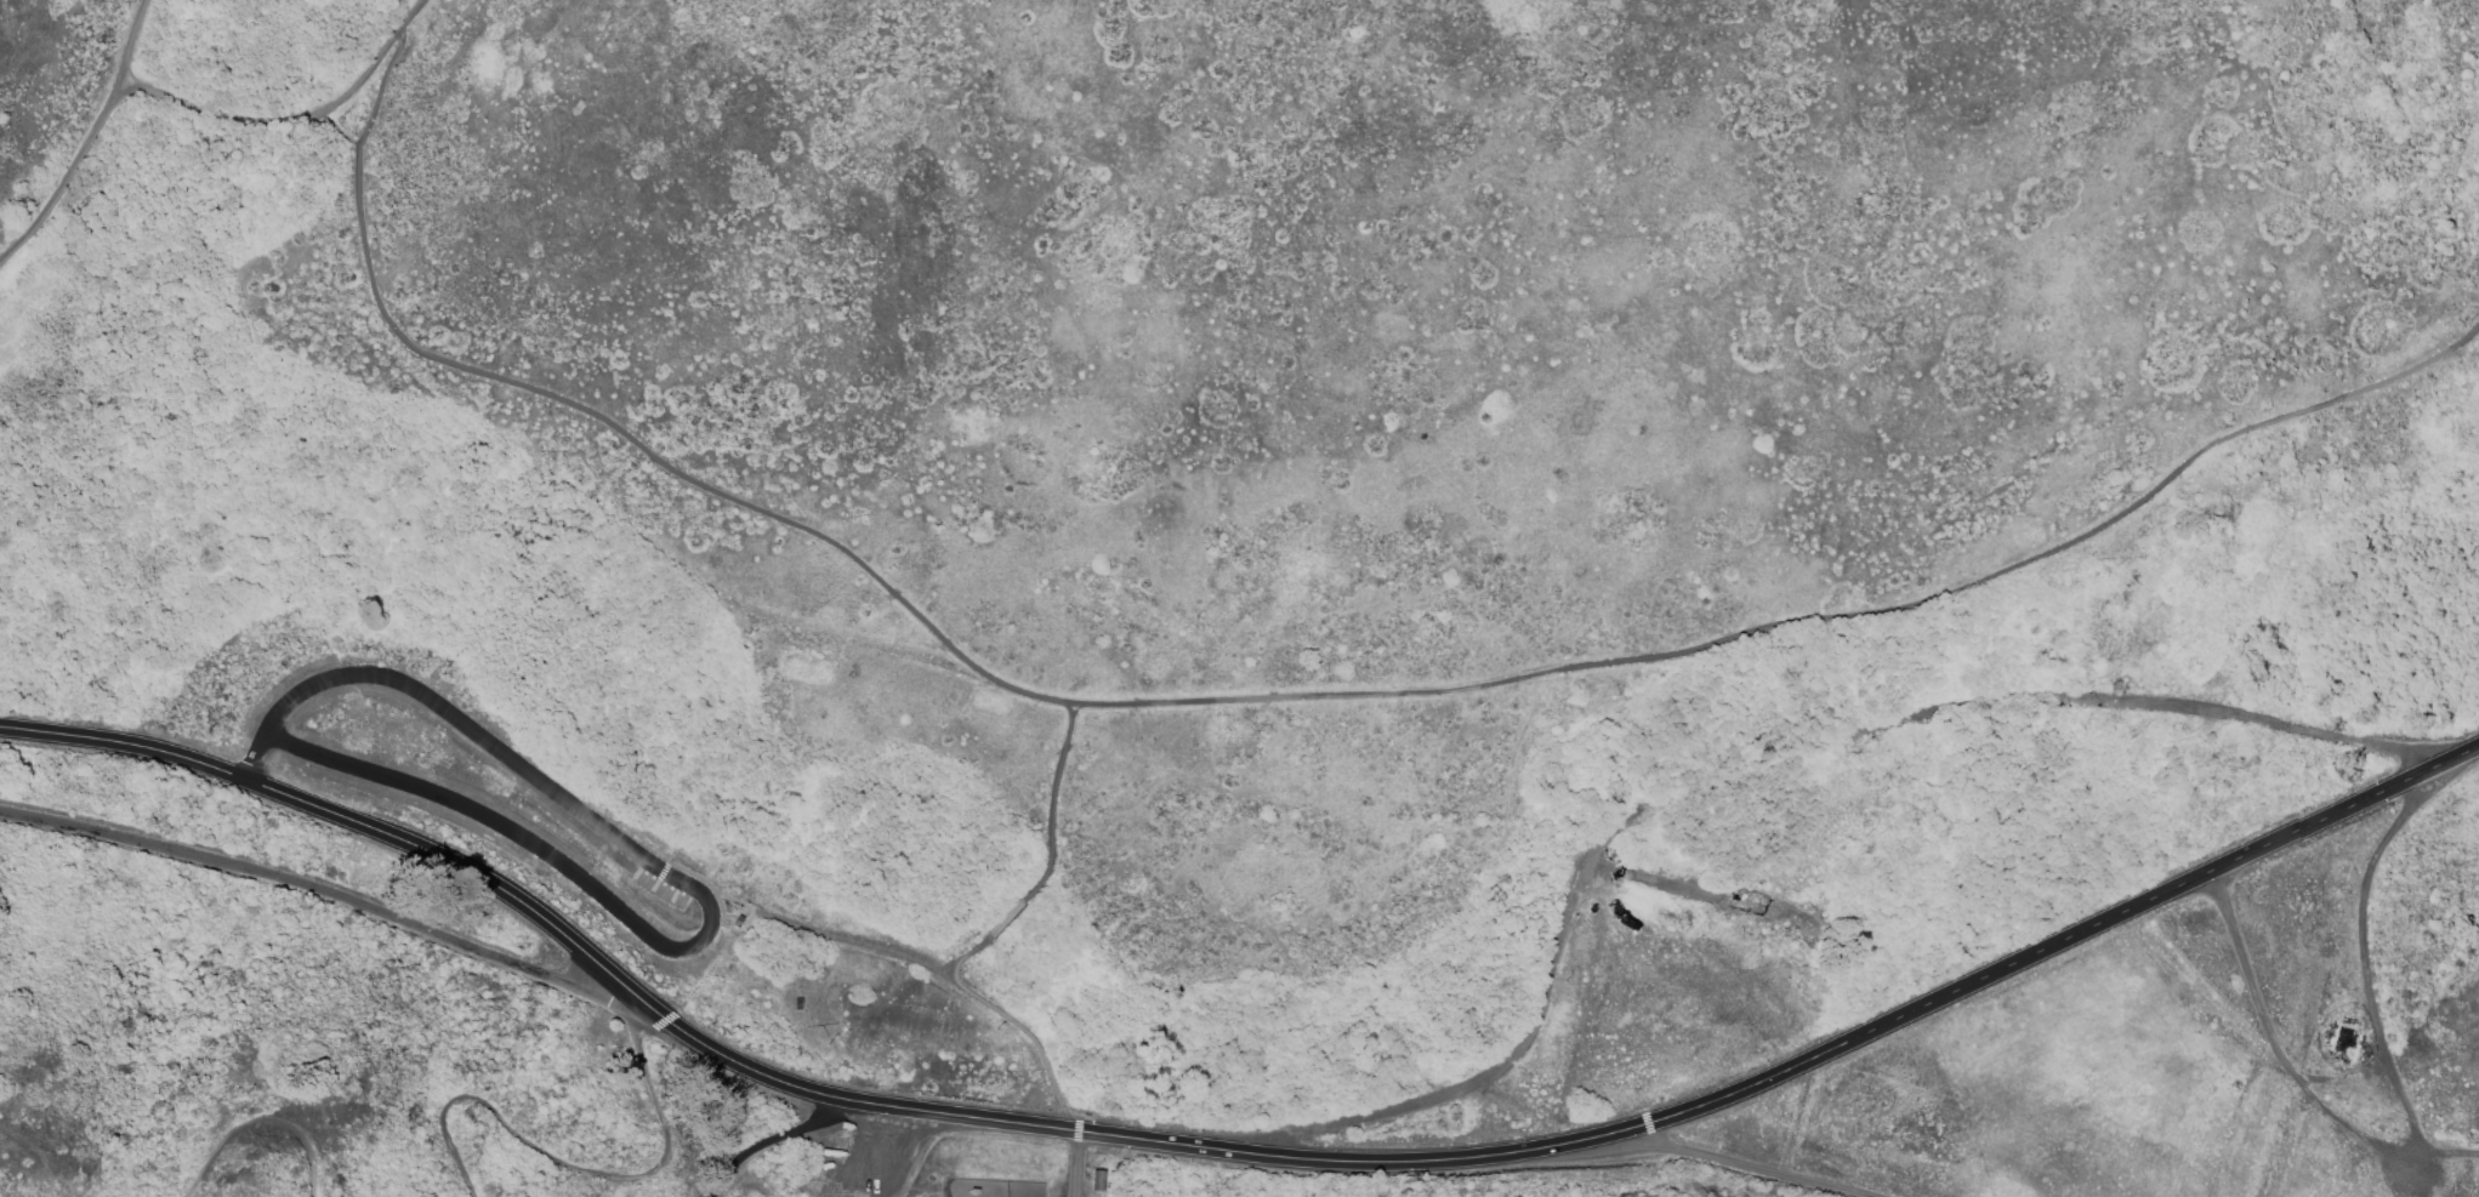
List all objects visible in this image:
road: (411, 15)
road: (137, 41)
road: (363, 73)
road: (220, 112)
road: (373, 112)
road: (340, 152)
road: (68, 177)
road: (2035, 563)
road: (885, 586)
road: (2292, 725)
parking lot: (487, 805)
road: (1052, 805)
road: (1643, 878)
road: (694, 889)
road: (1602, 890)
road: (328, 894)
road: (2365, 897)
road: (1008, 917)
road: (547, 922)
road: (817, 930)
road: (2066, 942)
road: (968, 954)
road: (1031, 1037)
road: (2276, 1048)
road: (1501, 1068)
road: (2347, 1077)
road: (261, 1118)
road: (2412, 1132)
road: (778, 1140)
road: (1076, 1165)
road: (1364, 1165)
road: (573, 1167)
road: (1755, 1170)
road: (2424, 1176)

